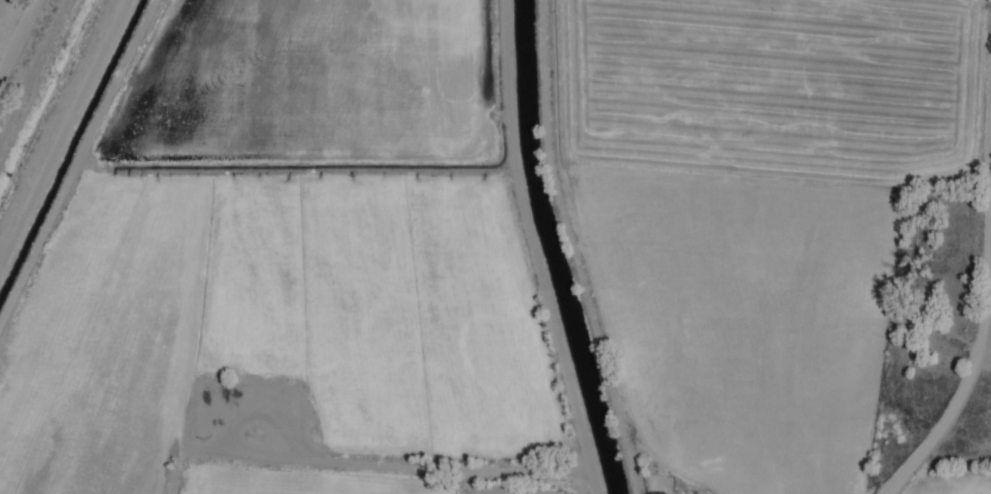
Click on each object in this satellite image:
building: (920, 233)
road: (960, 402)
building: (658, 493)

